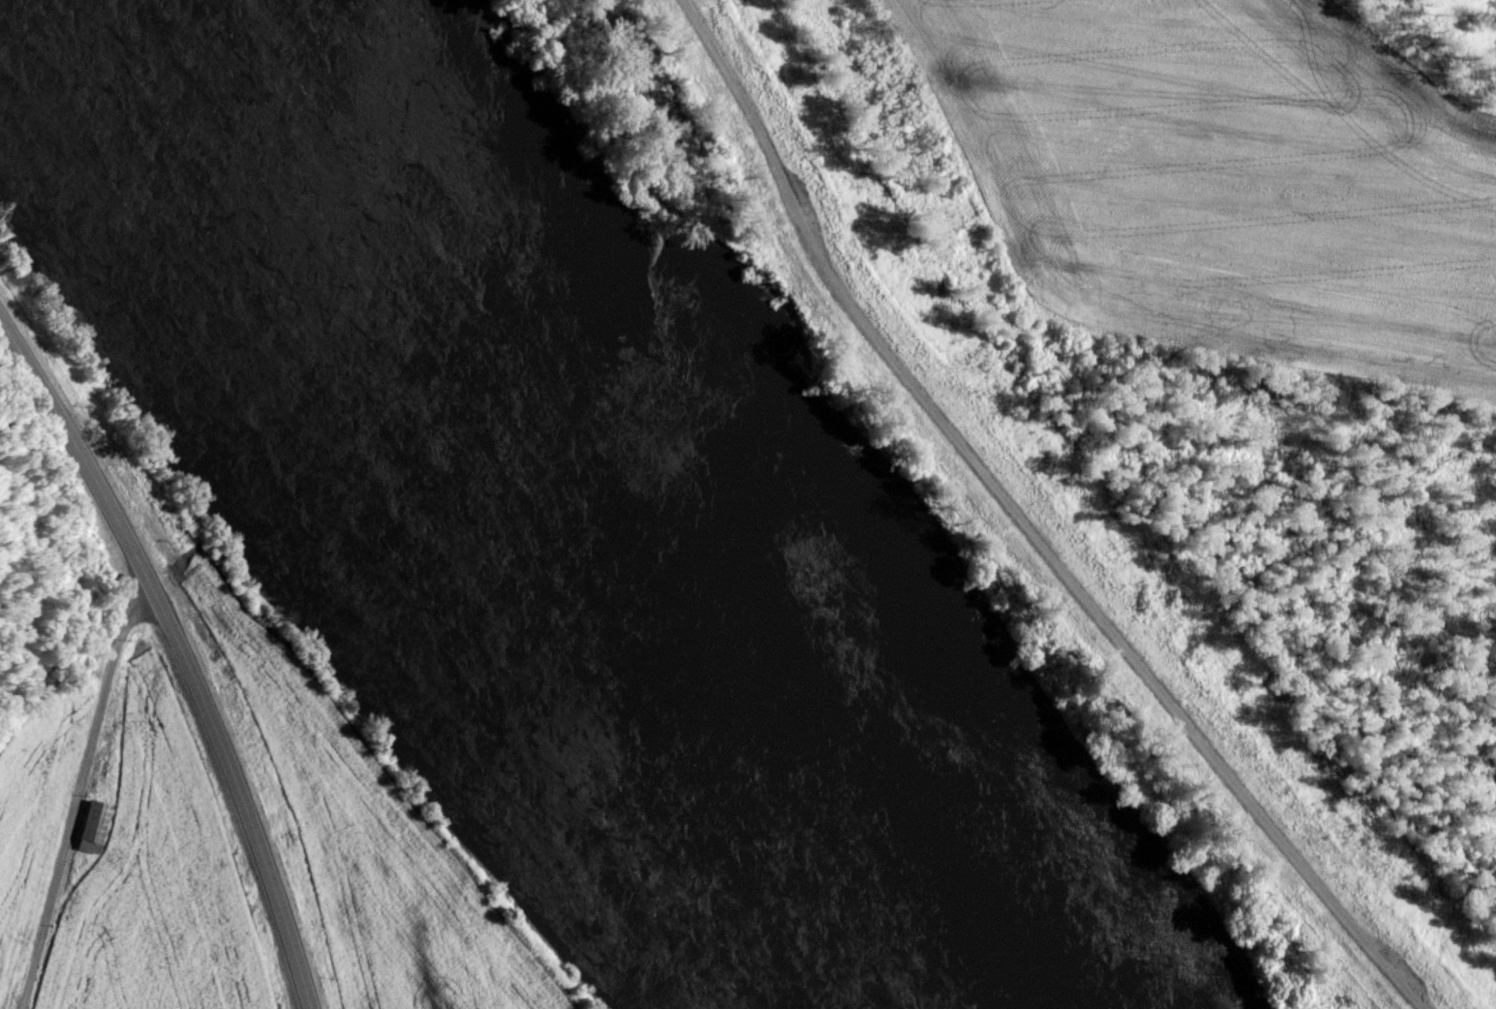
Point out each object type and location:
river: (594, 504)
road: (1028, 528)
road: (179, 650)
road: (77, 794)
building: (87, 824)

